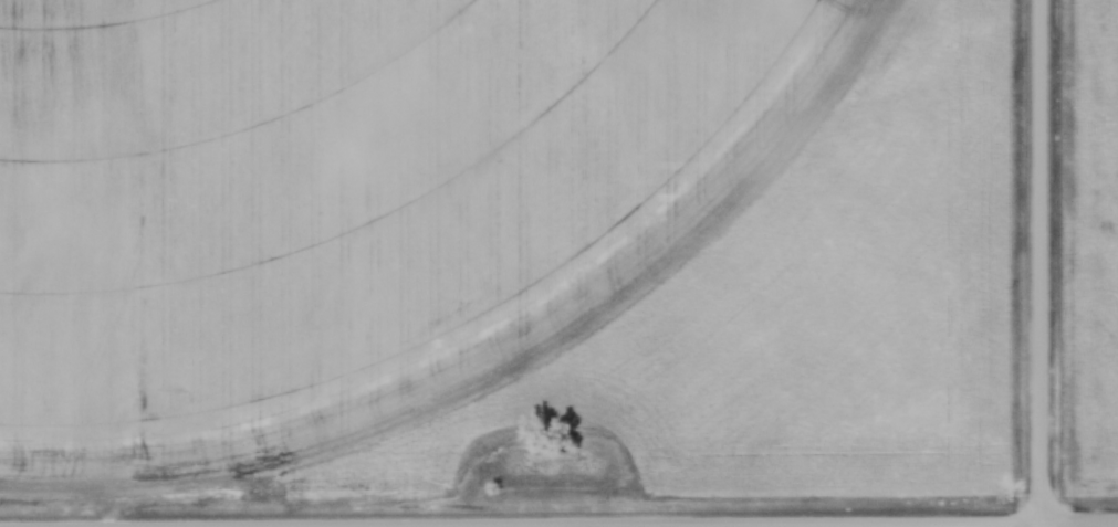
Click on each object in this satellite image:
road: (1039, 263)
road: (571, 523)

